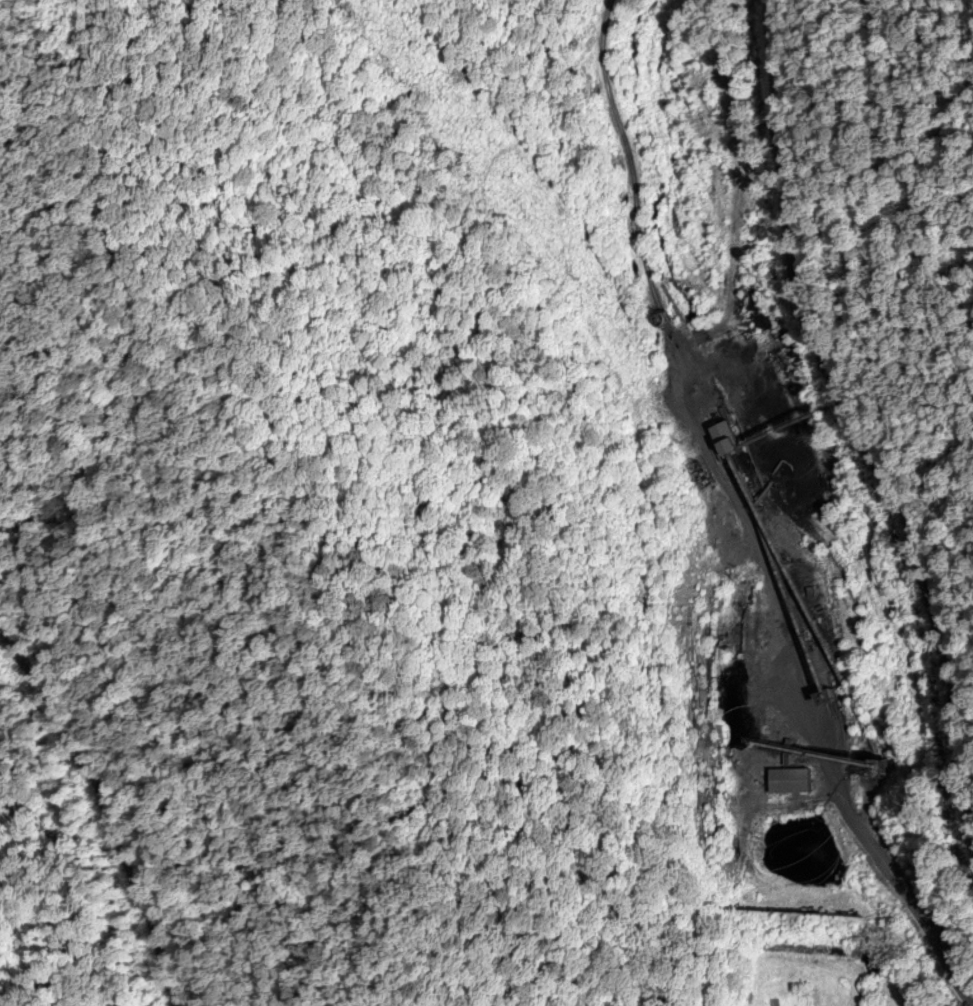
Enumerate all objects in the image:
road: (739, 191)
road: (851, 449)
road: (733, 516)
quarry: (762, 639)
building: (794, 784)

